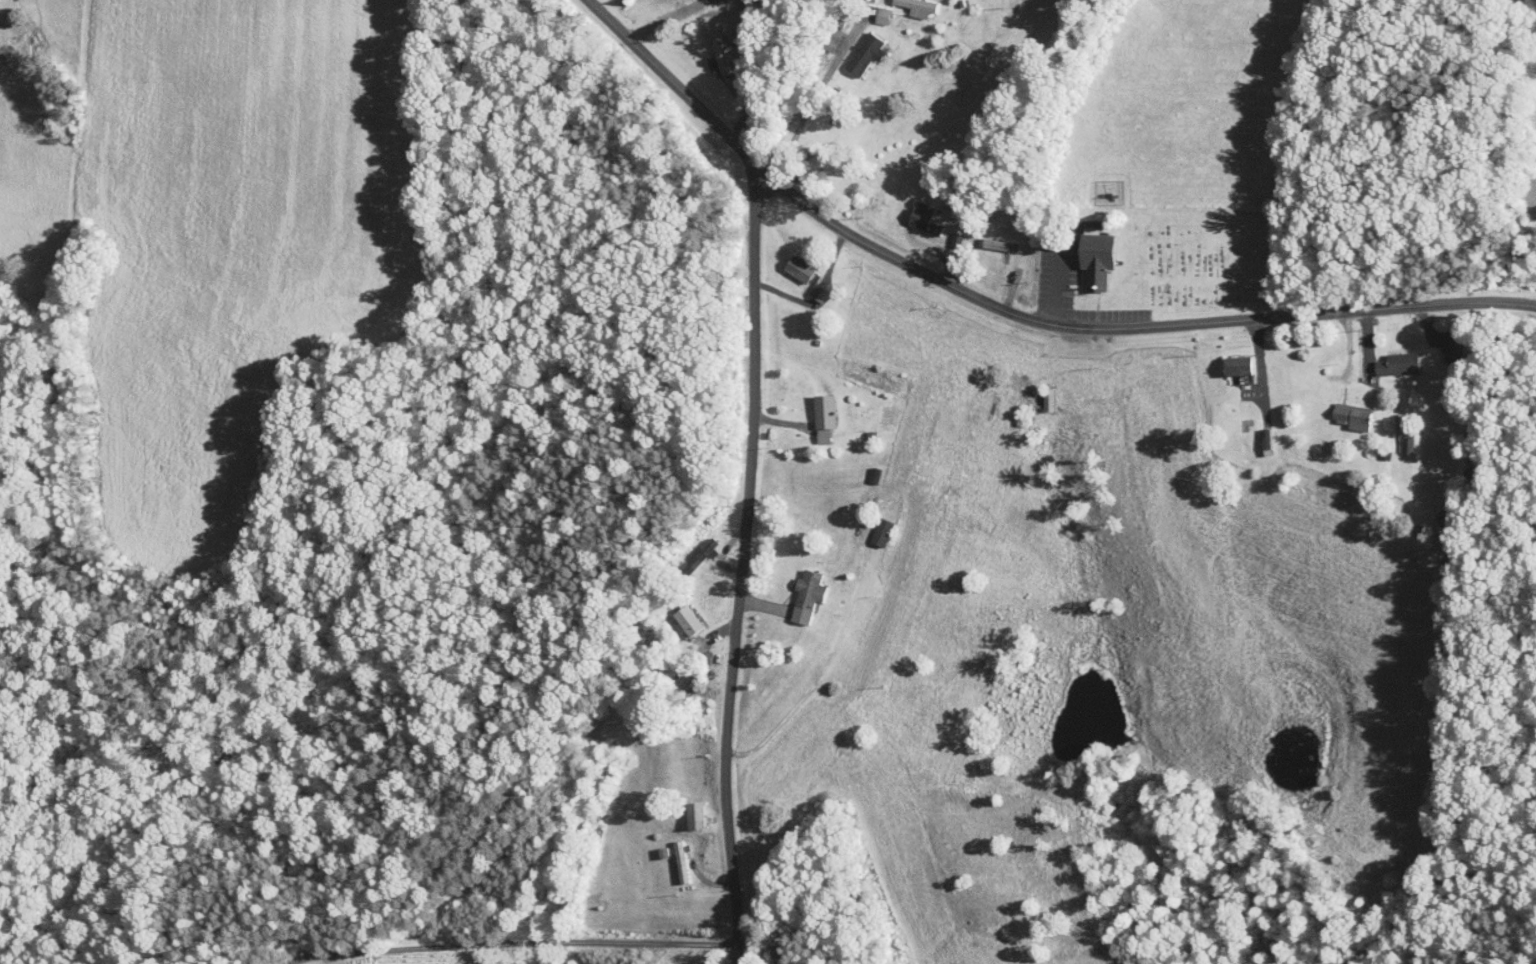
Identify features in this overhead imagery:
building: (907, 4)
building: (869, 8)
road: (649, 15)
building: (819, 33)
building: (706, 45)
building: (852, 46)
road: (817, 90)
building: (906, 208)
building: (1081, 252)
building: (785, 262)
road: (1057, 283)
building: (805, 287)
road: (1008, 311)
building: (1383, 357)
building: (1224, 359)
road: (1259, 369)
building: (1035, 393)
building: (810, 410)
building: (1338, 410)
building: (868, 526)
road: (743, 563)
building: (794, 590)
building: (674, 613)
building: (682, 809)
building: (669, 855)
road: (705, 876)
road: (509, 940)

